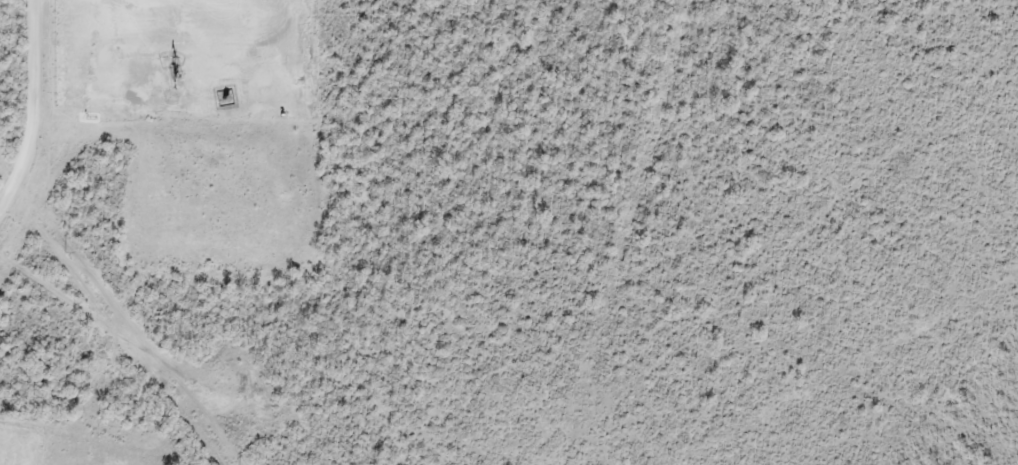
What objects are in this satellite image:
road: (34, 107)
power tower: (65, 252)

